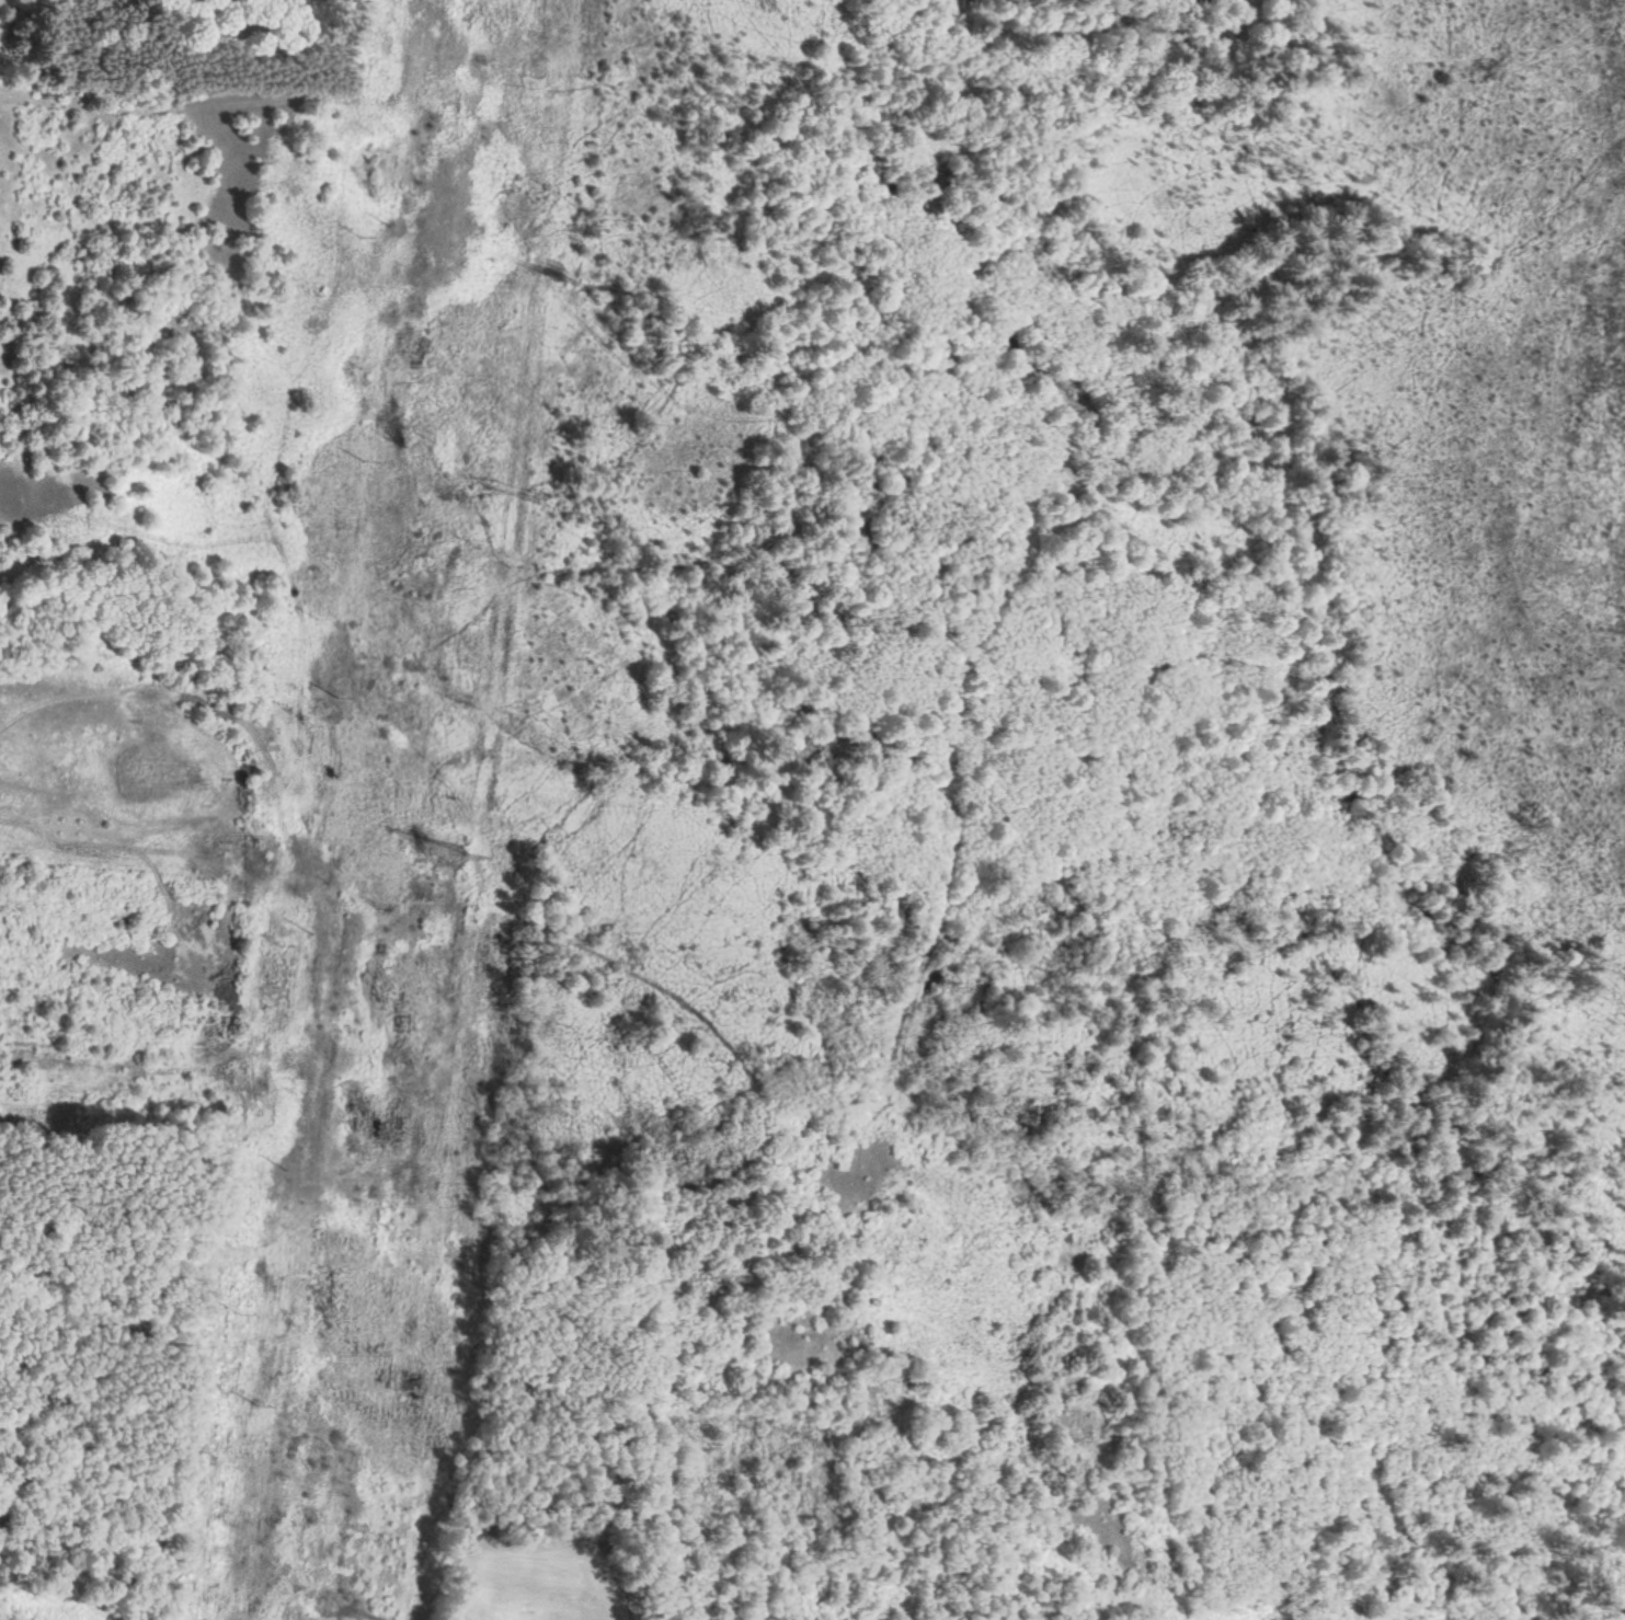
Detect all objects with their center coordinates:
power tower: (446, 854)

